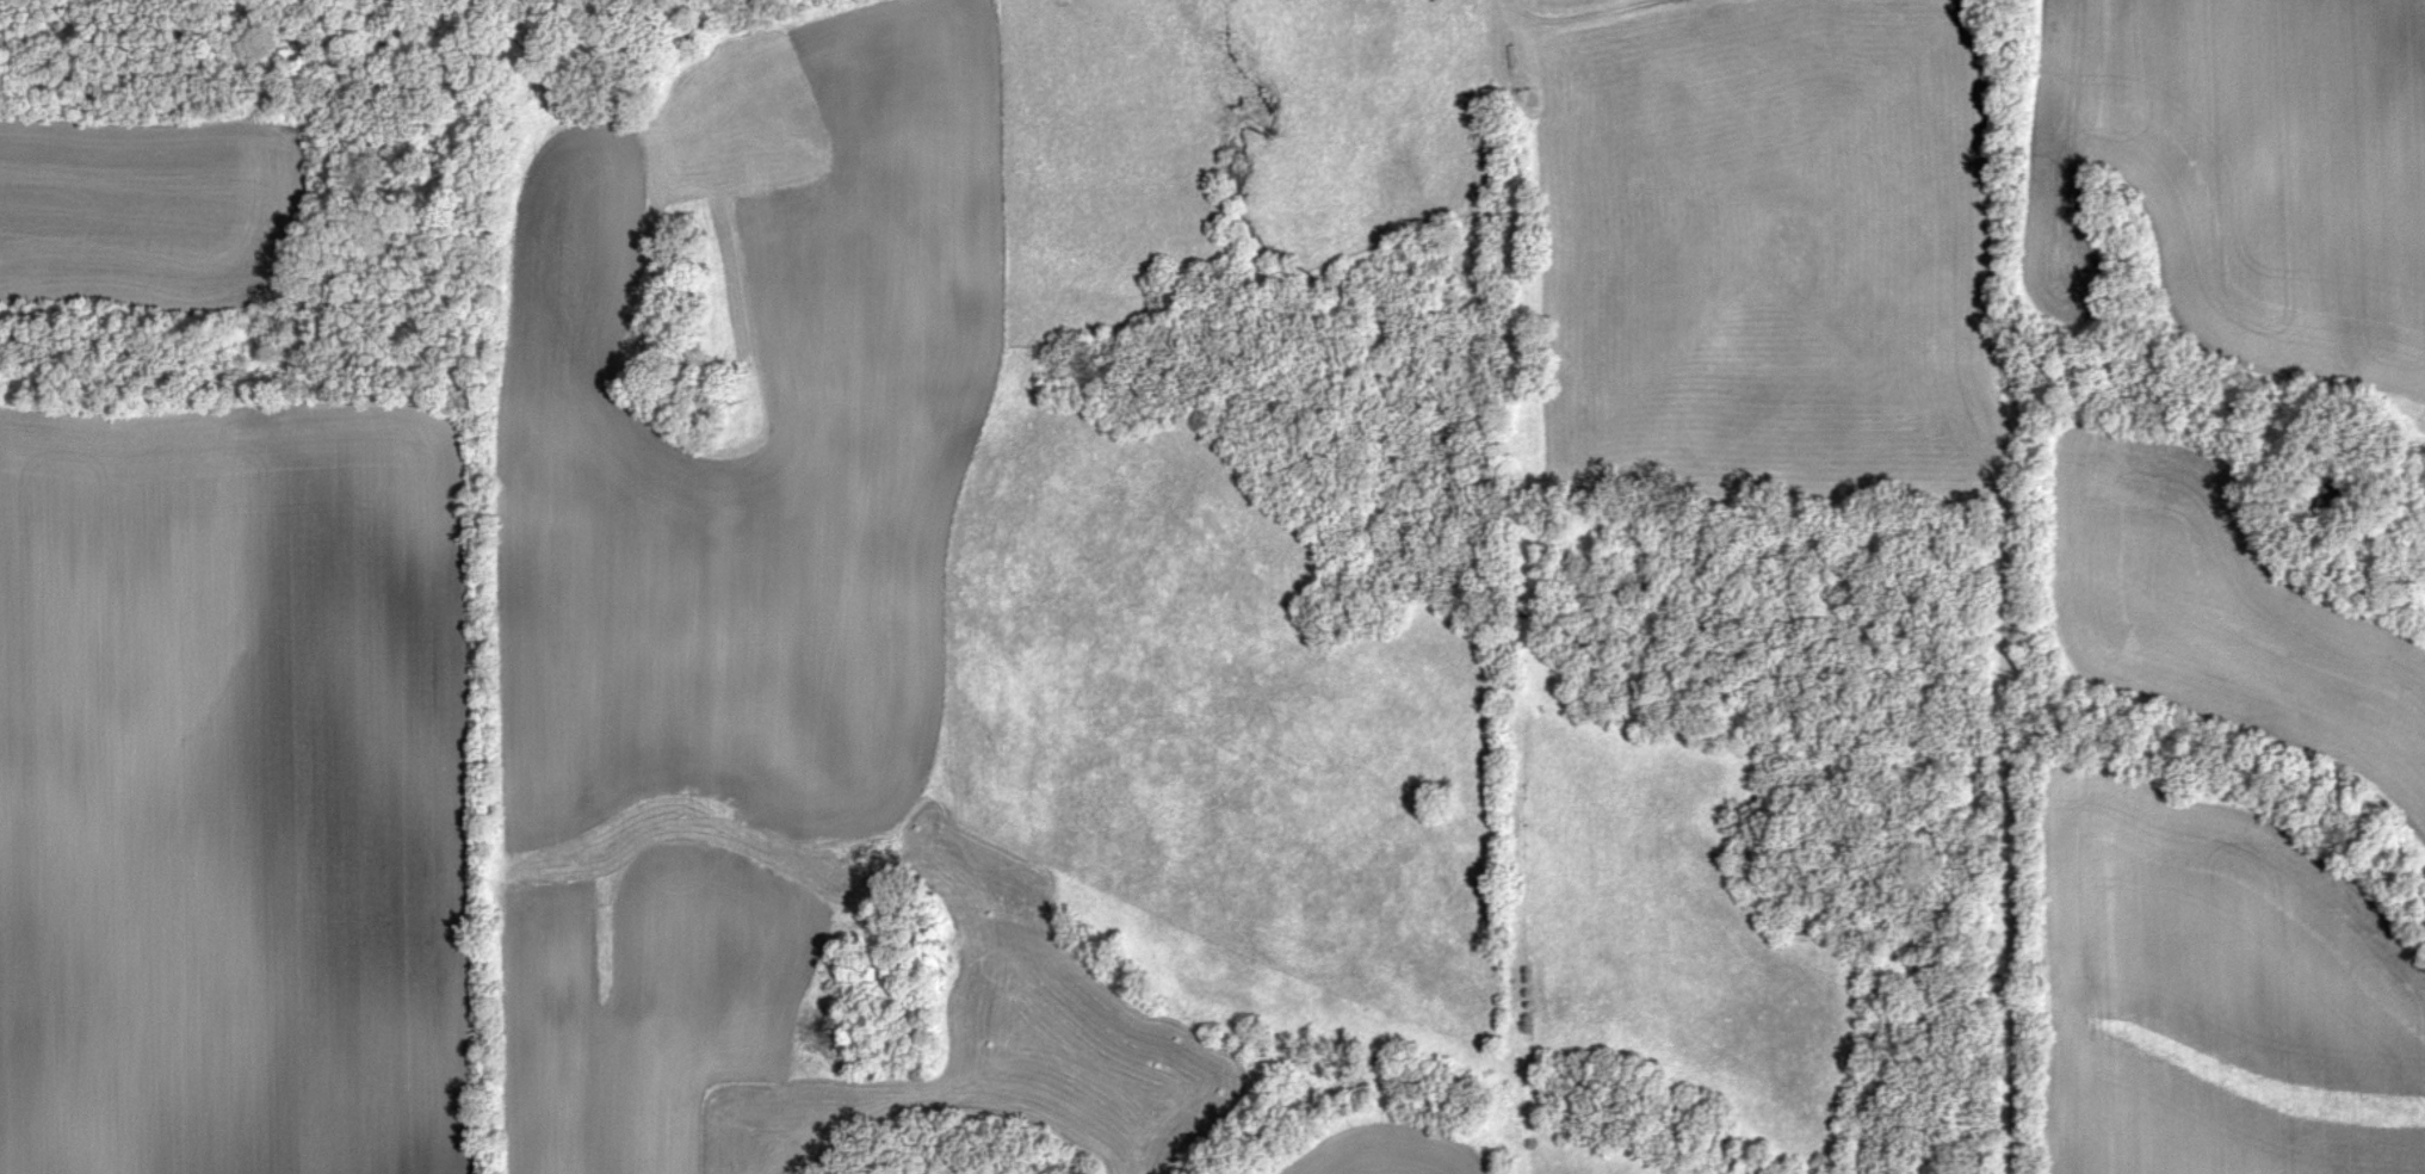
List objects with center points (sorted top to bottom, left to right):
road: (1504, 1)

